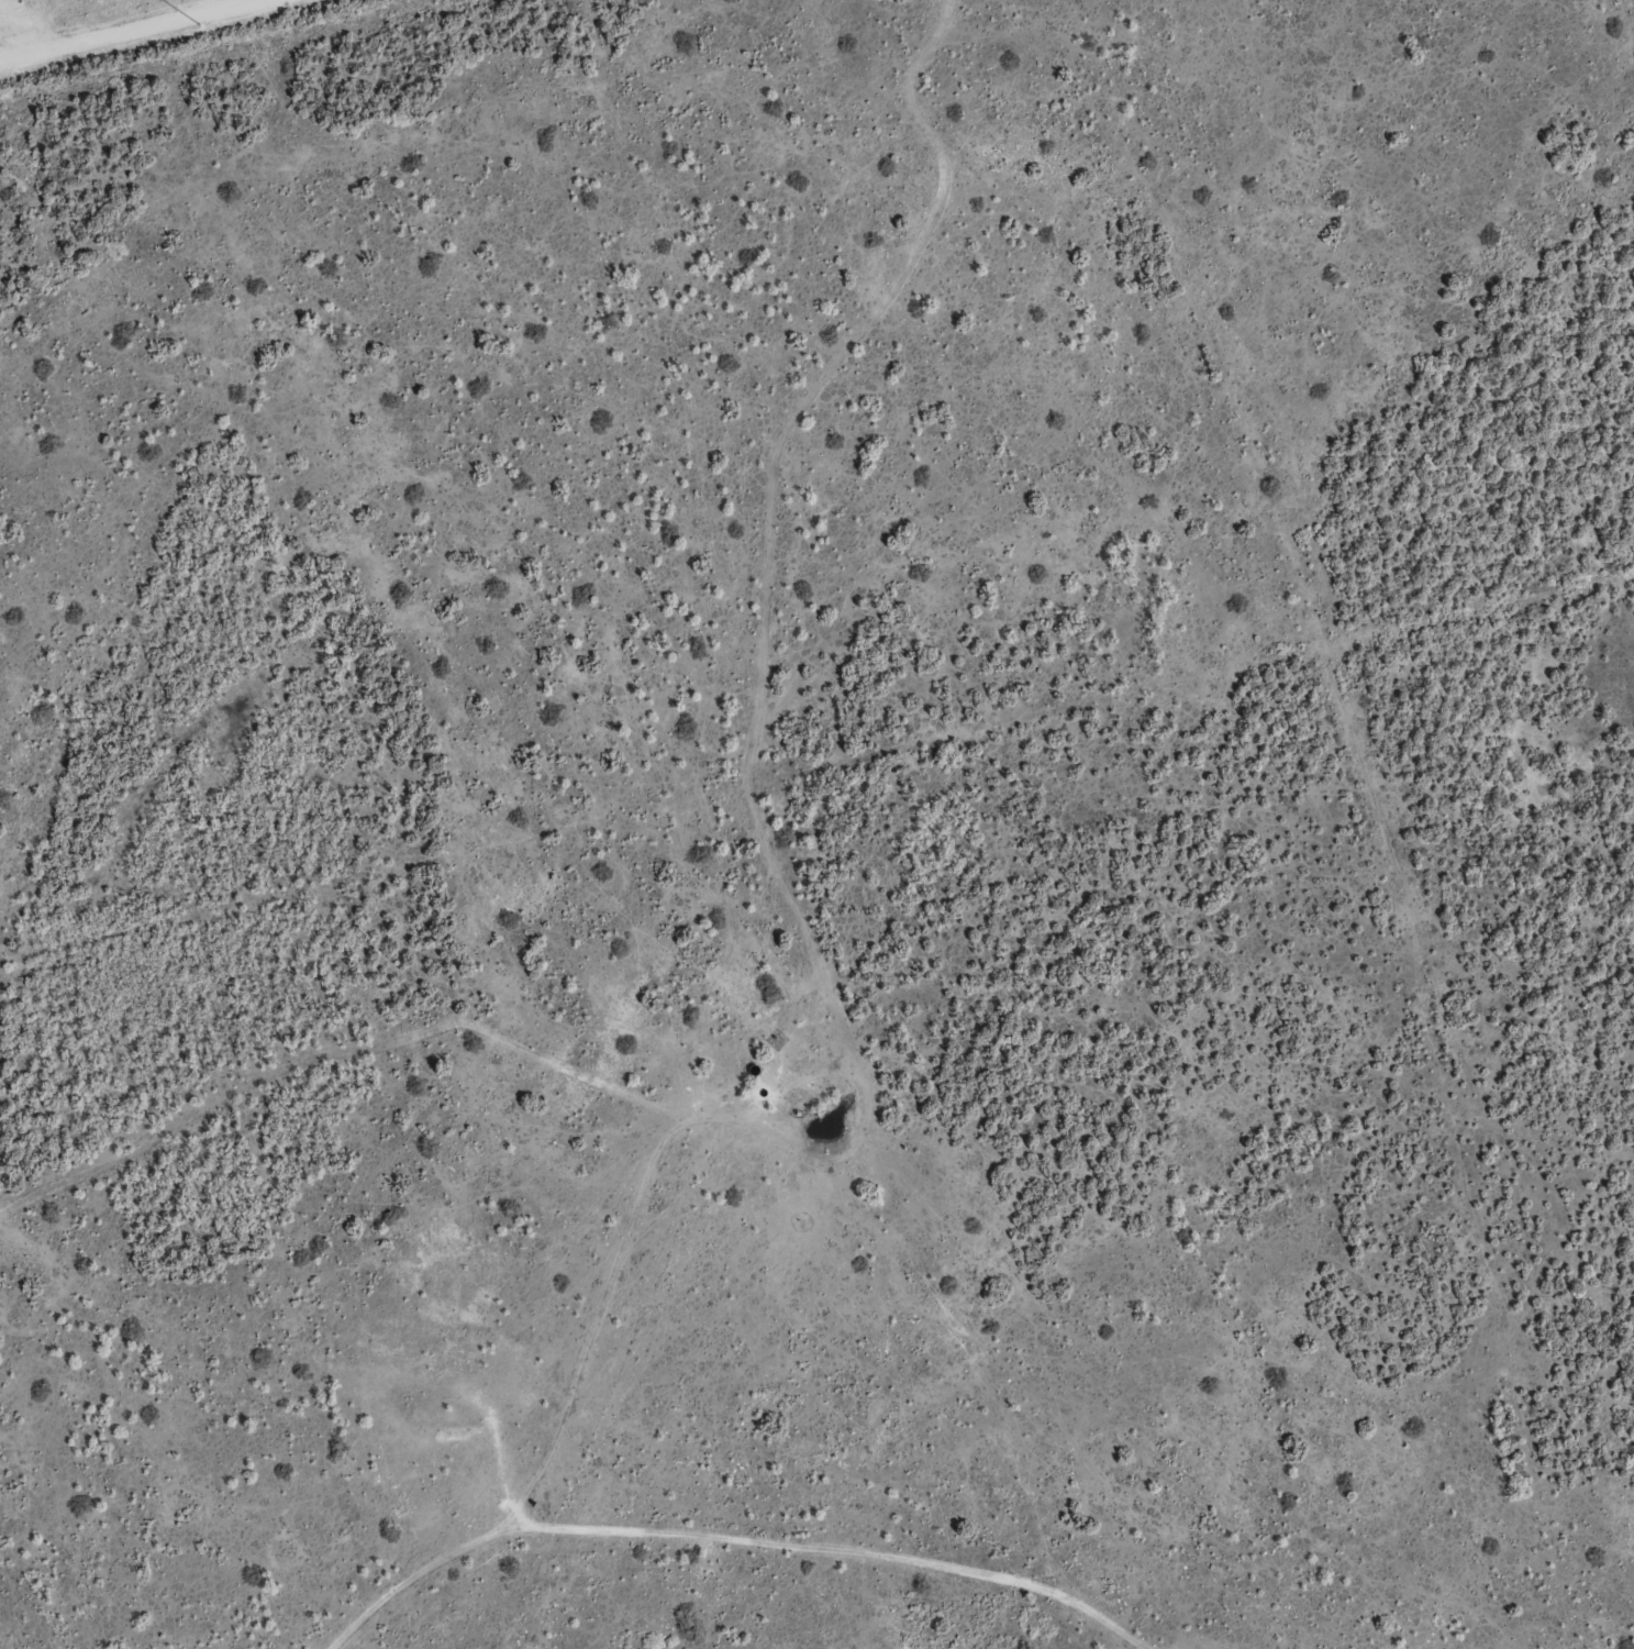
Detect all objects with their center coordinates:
power tower: (199, 24)
road: (229, 53)
road: (563, 389)
road: (1329, 788)
road: (715, 1568)
road: (182, 1595)
road: (349, 1622)

